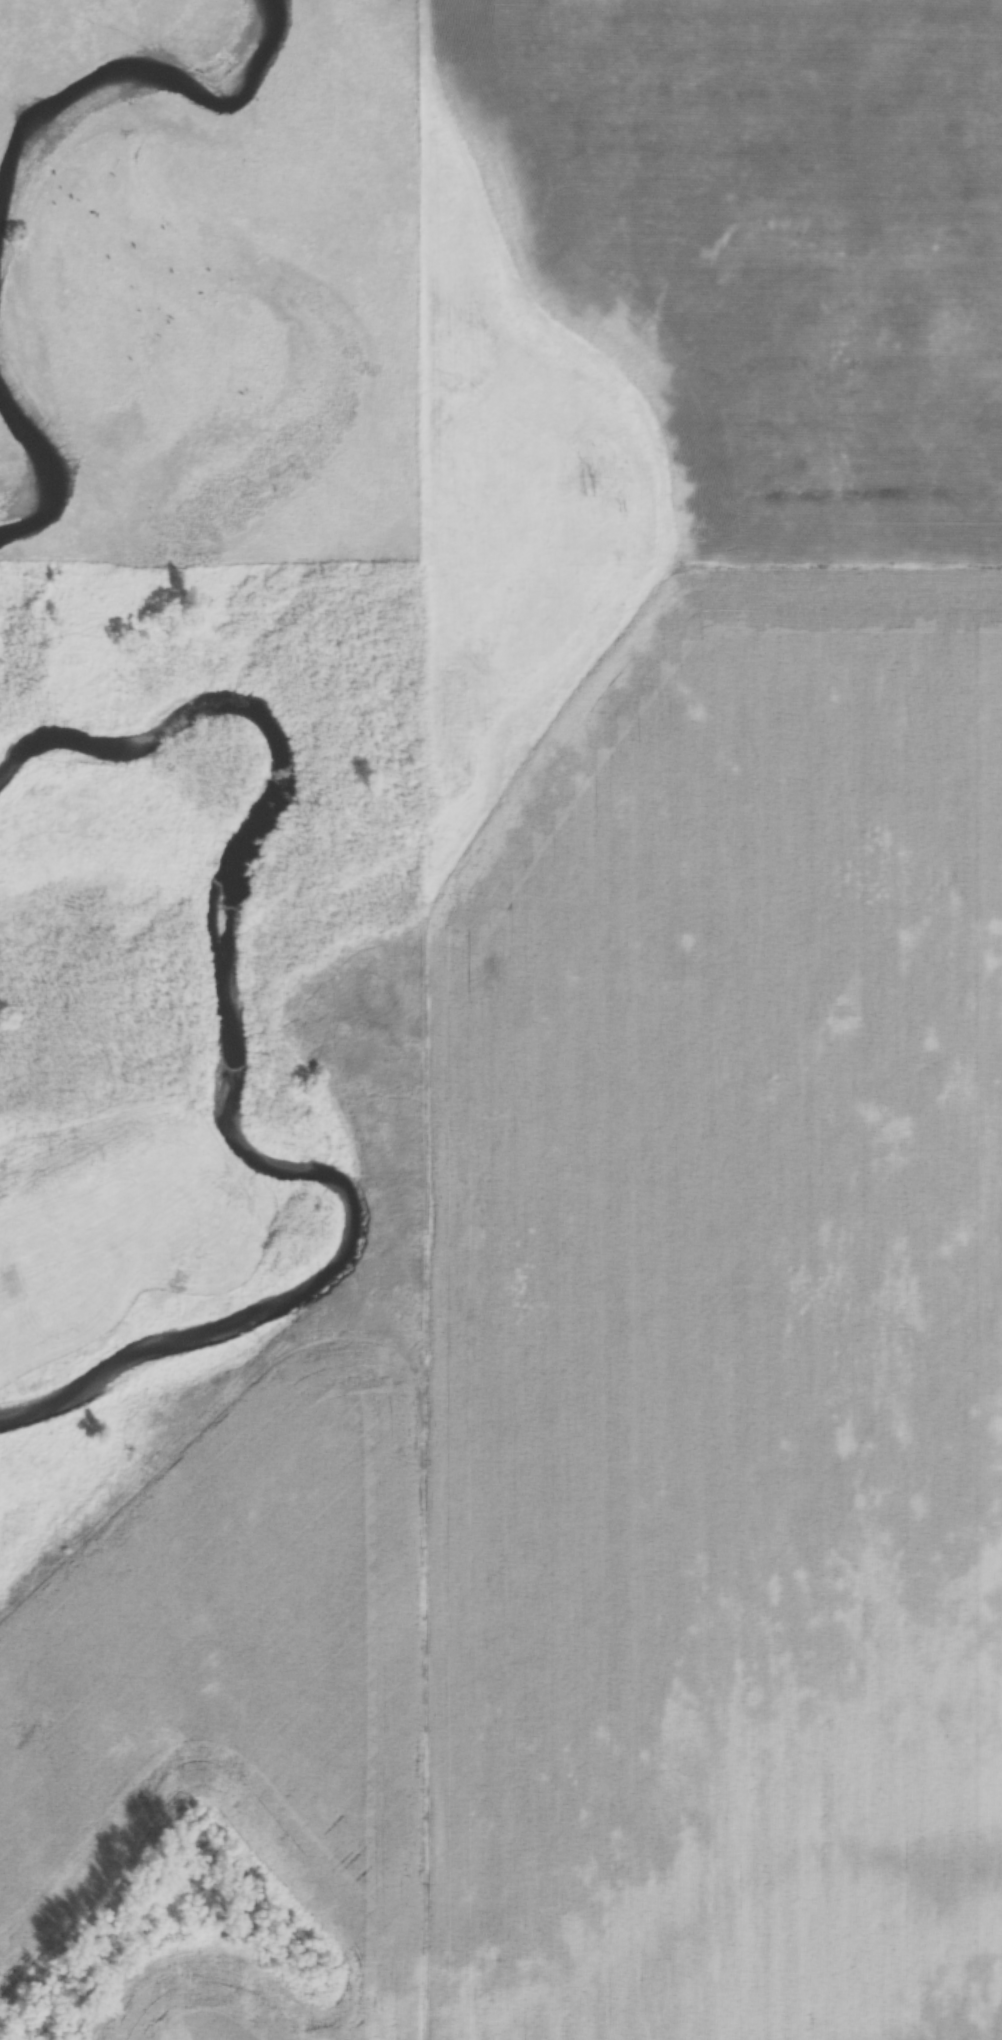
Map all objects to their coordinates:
river: (123, 83)
crop: (773, 243)
river: (45, 459)
river: (221, 1064)

